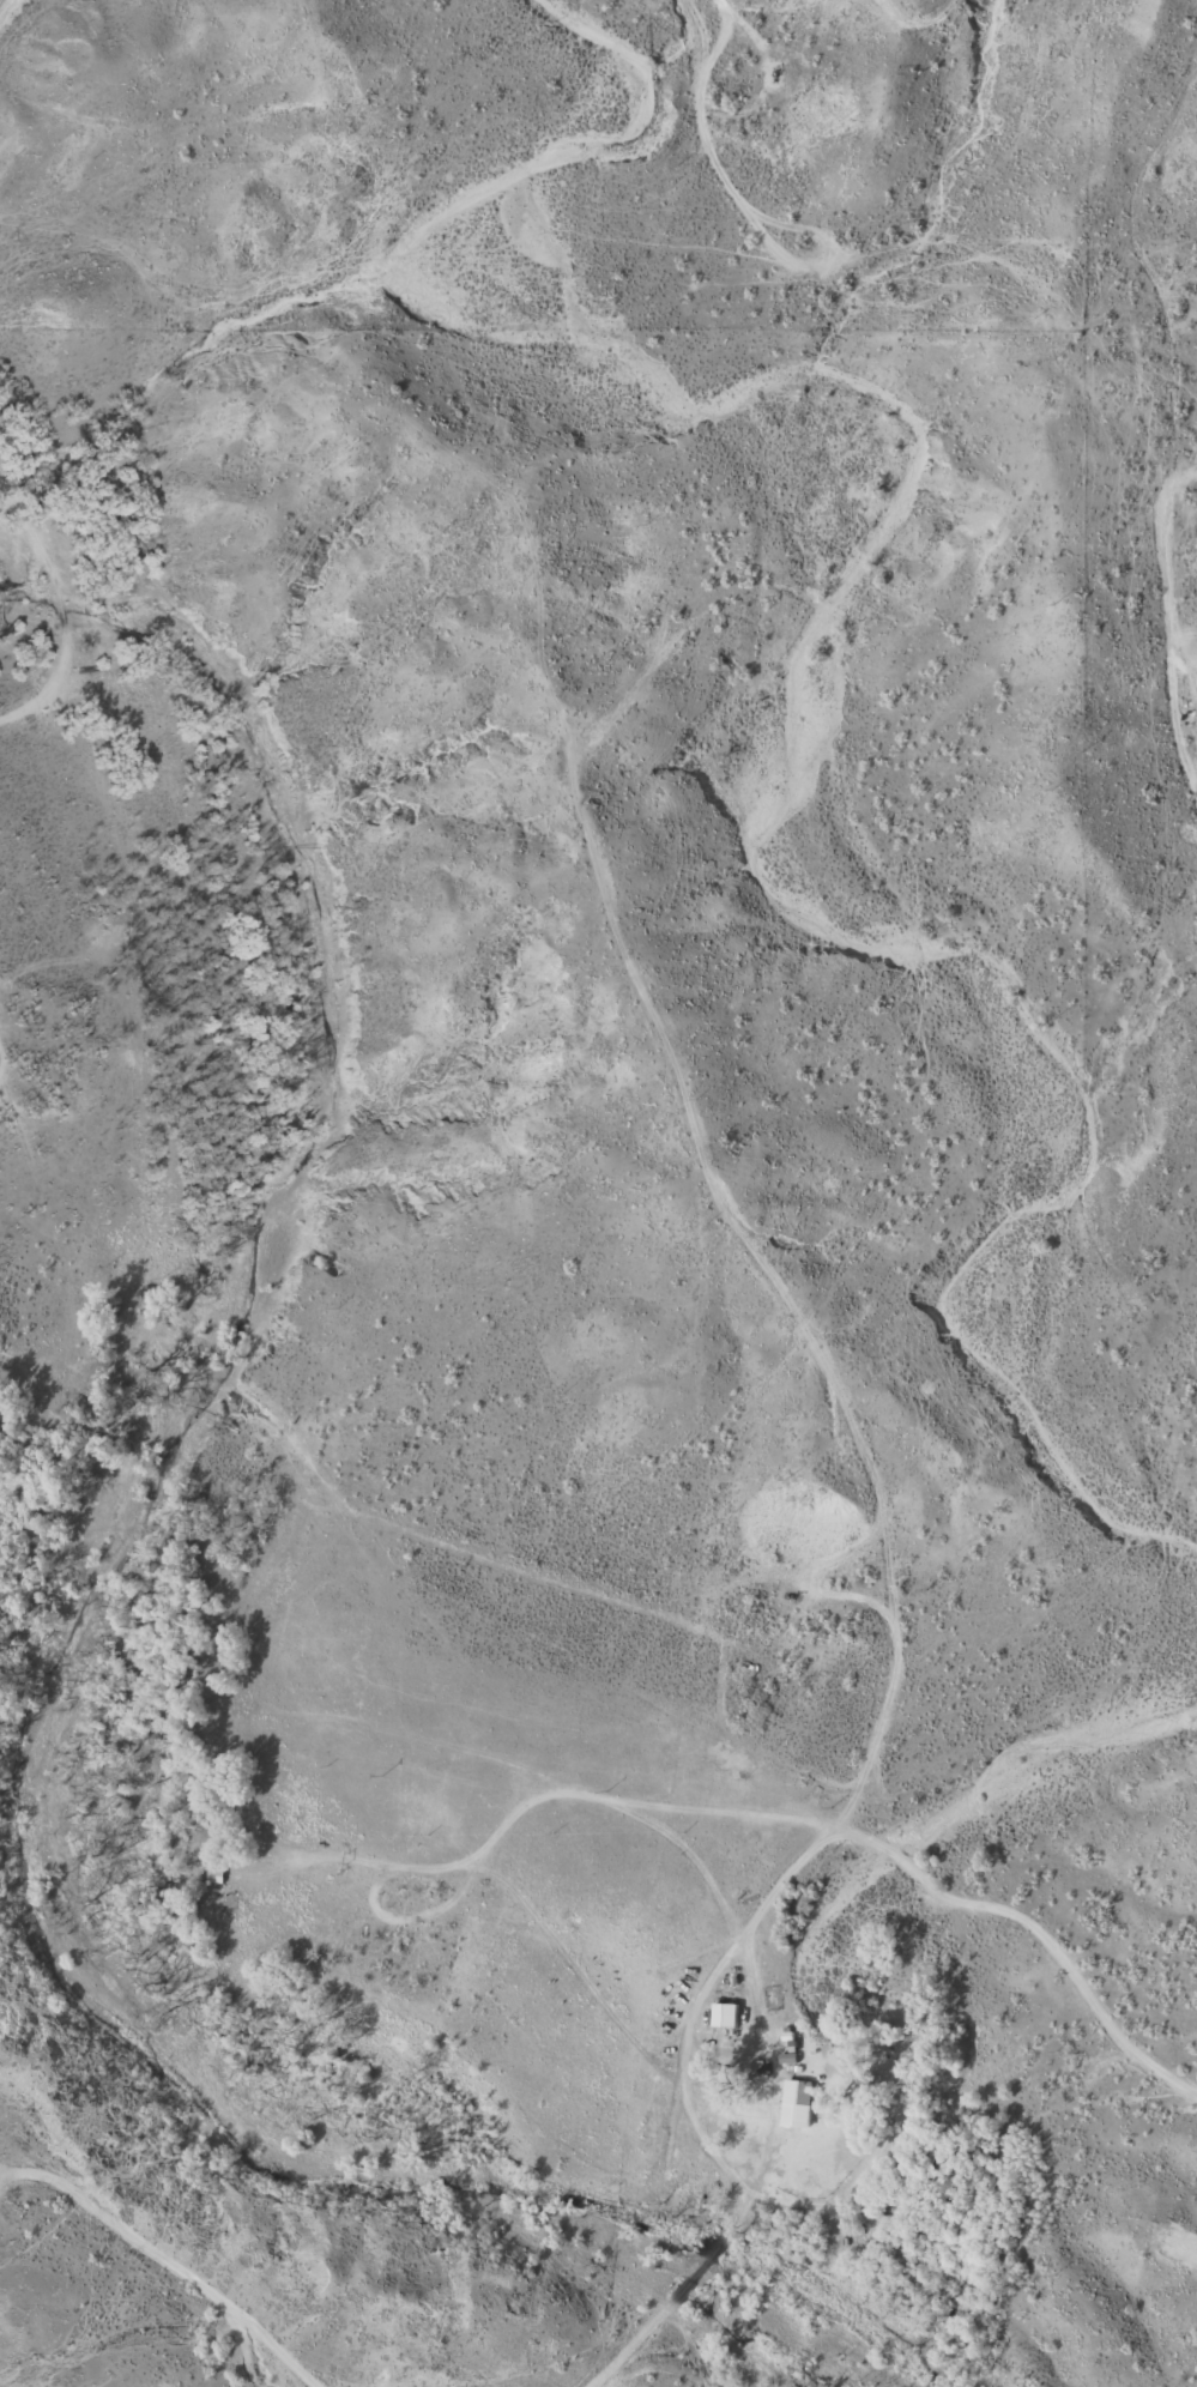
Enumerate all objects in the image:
building: (726, 2014)

